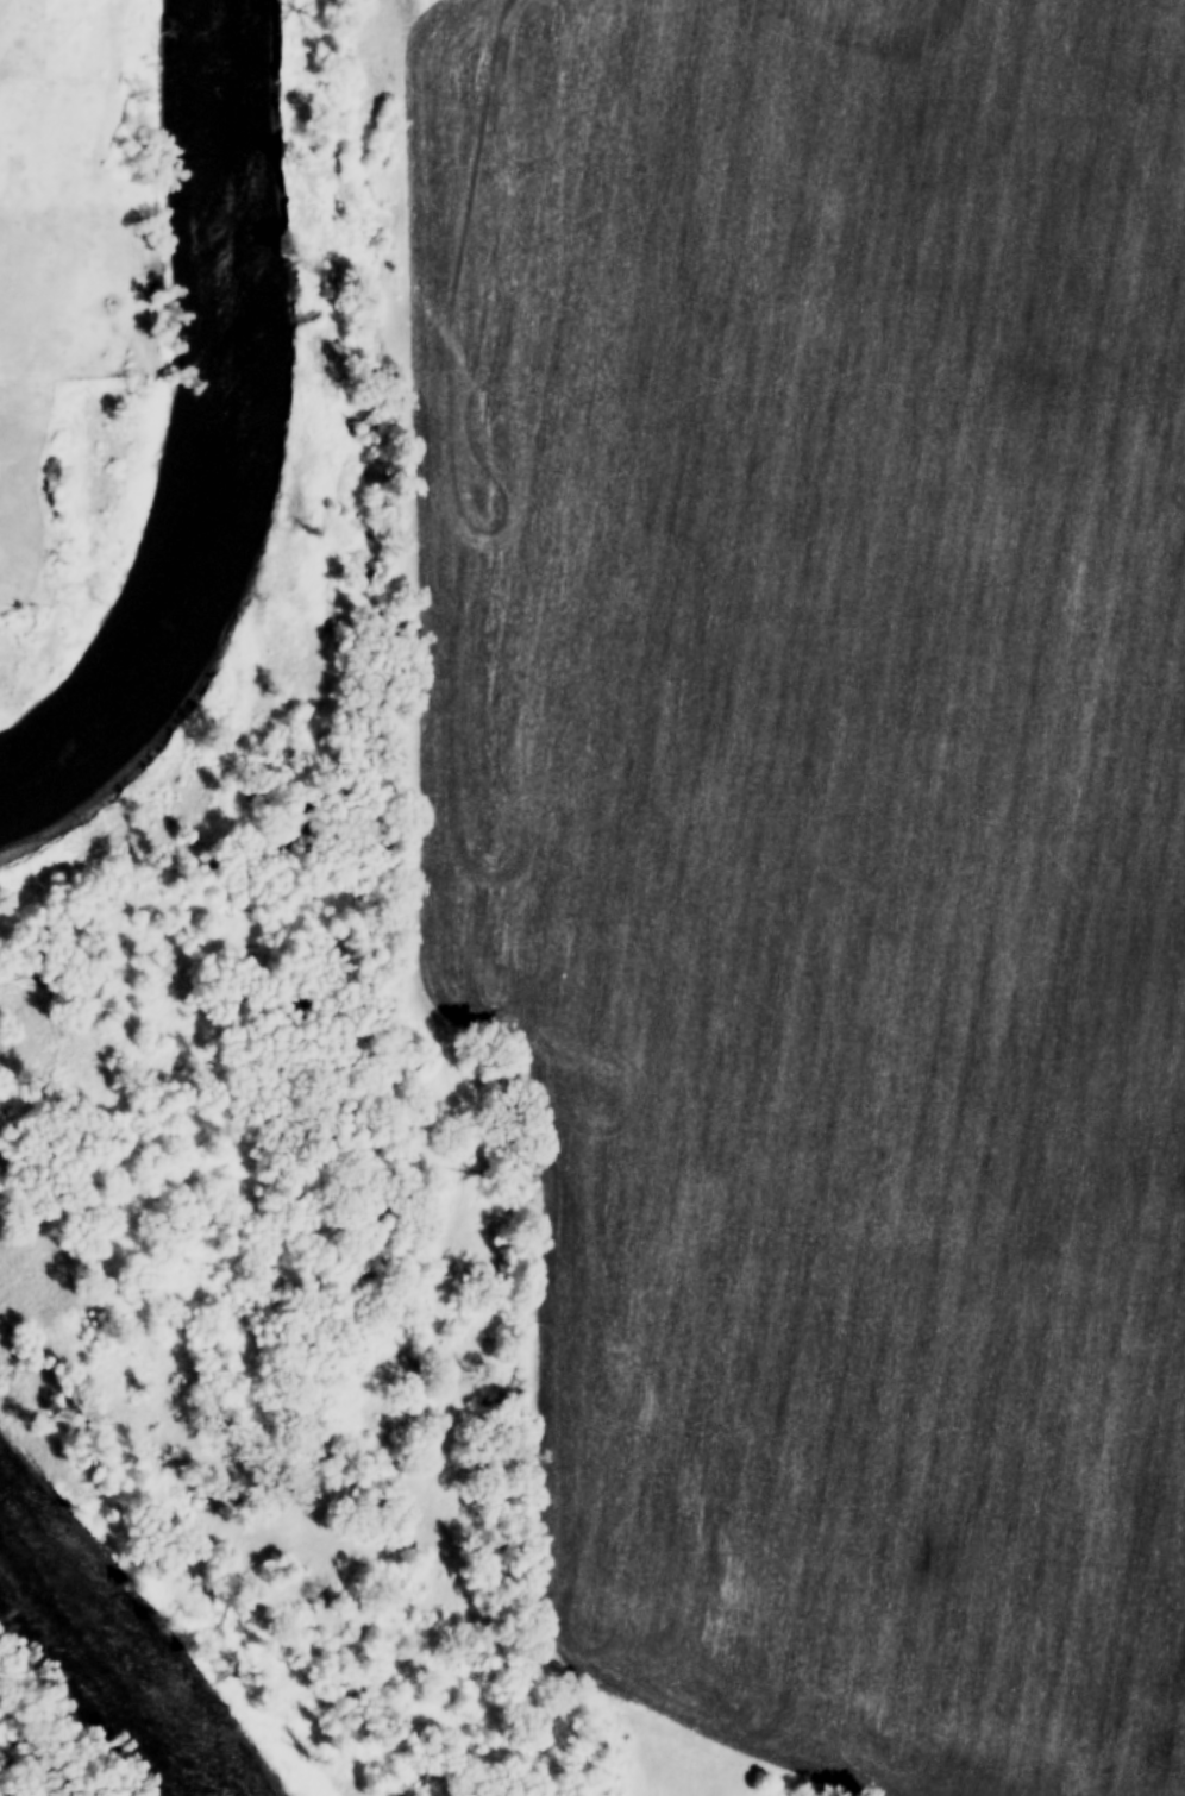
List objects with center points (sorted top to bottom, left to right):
river: (246, 459)
crop: (822, 844)
river: (128, 1637)

